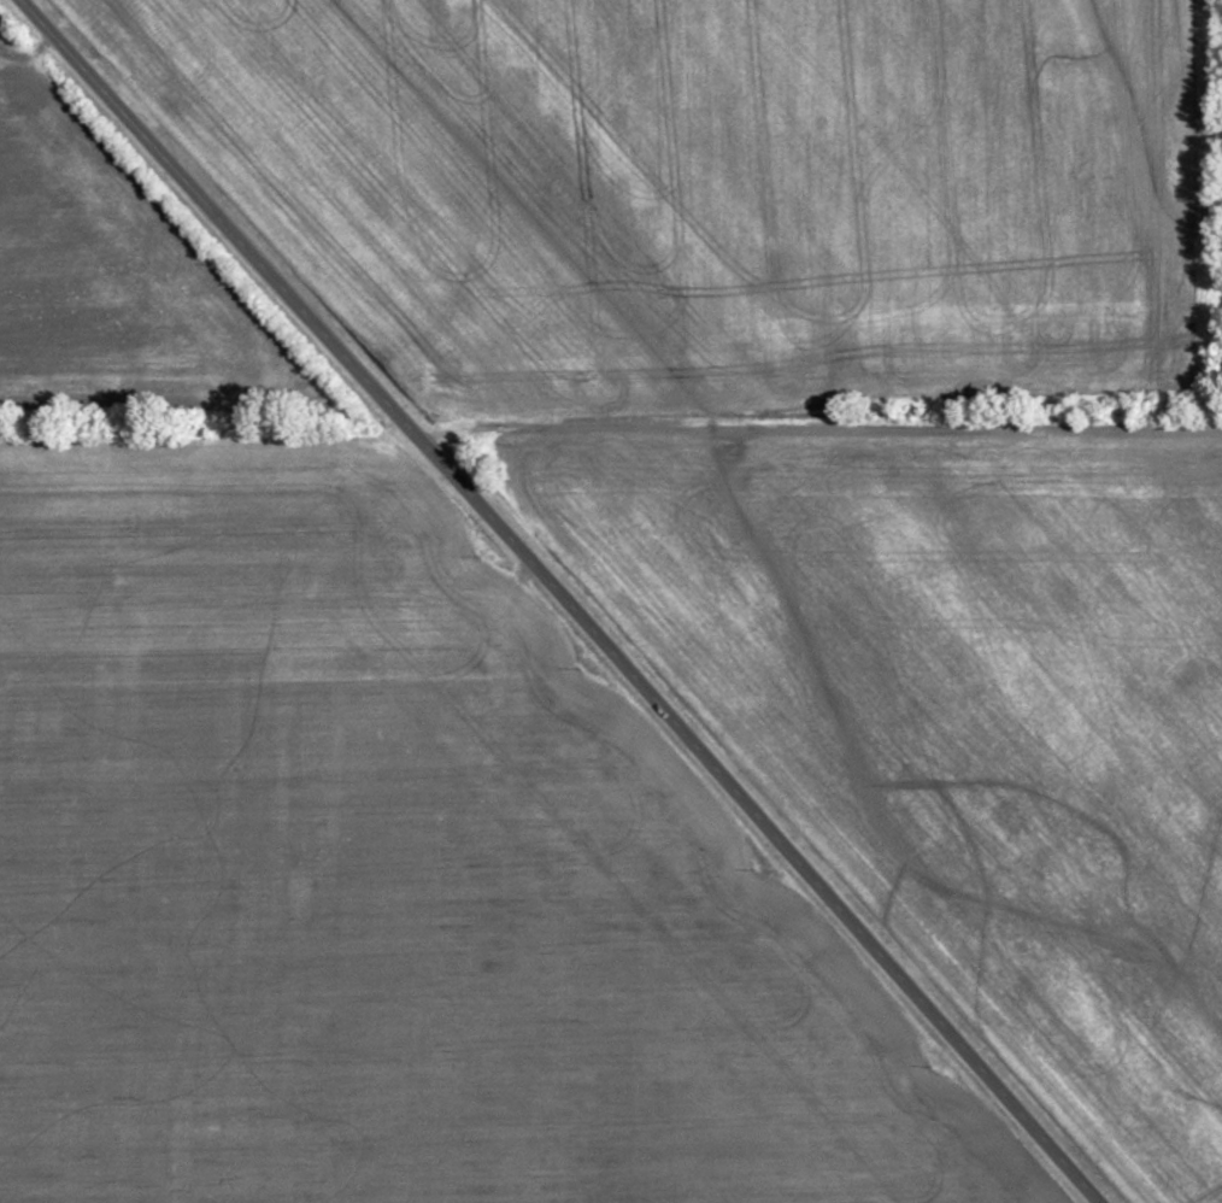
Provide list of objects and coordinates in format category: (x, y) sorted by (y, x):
road: (153, 203)
road: (565, 601)

